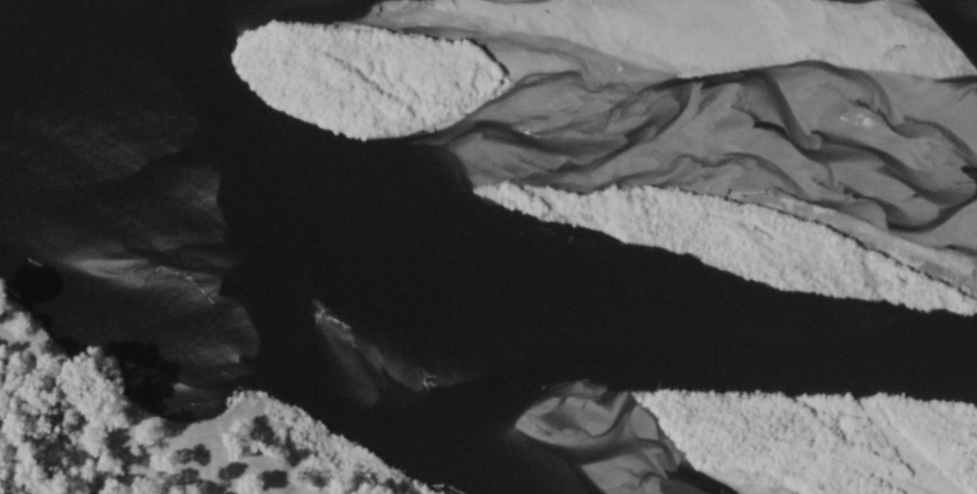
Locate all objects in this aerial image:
river: (904, 136)
river: (487, 178)

